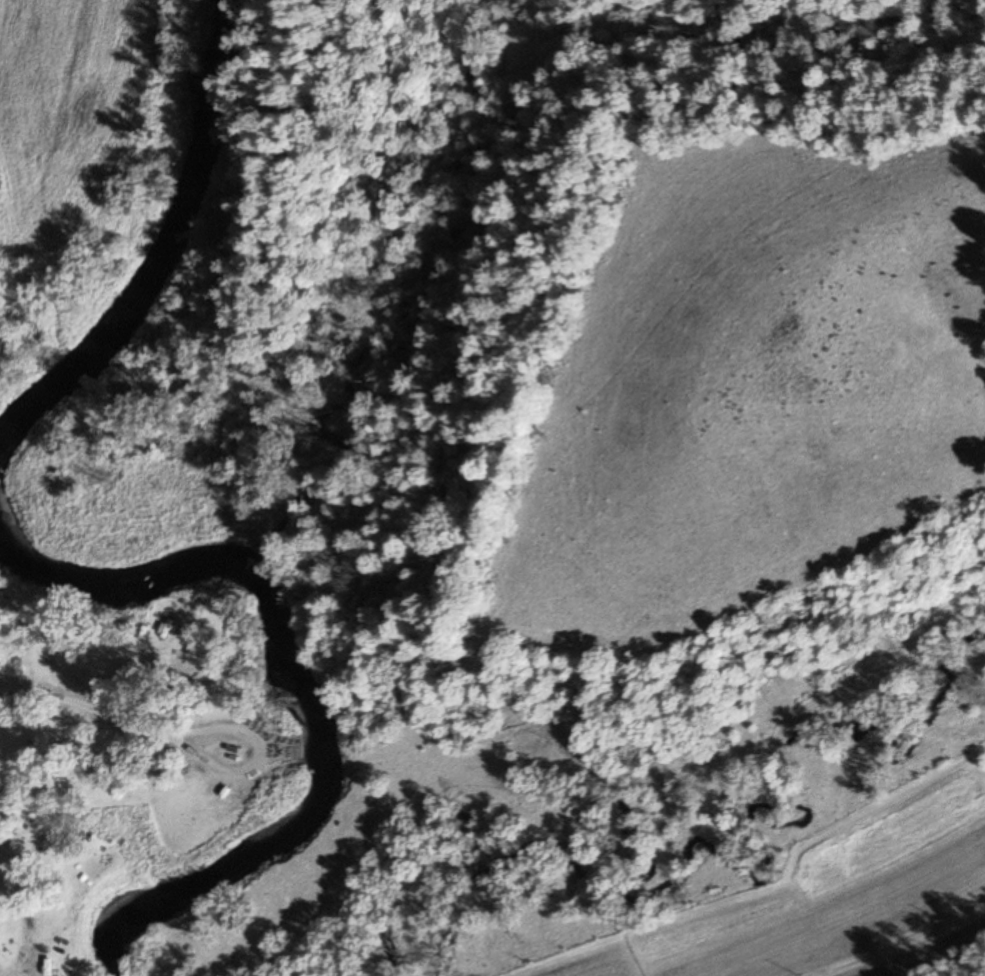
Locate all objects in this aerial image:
river: (165, 249)
river: (304, 689)
road: (90, 709)
road: (262, 756)
road: (932, 954)

